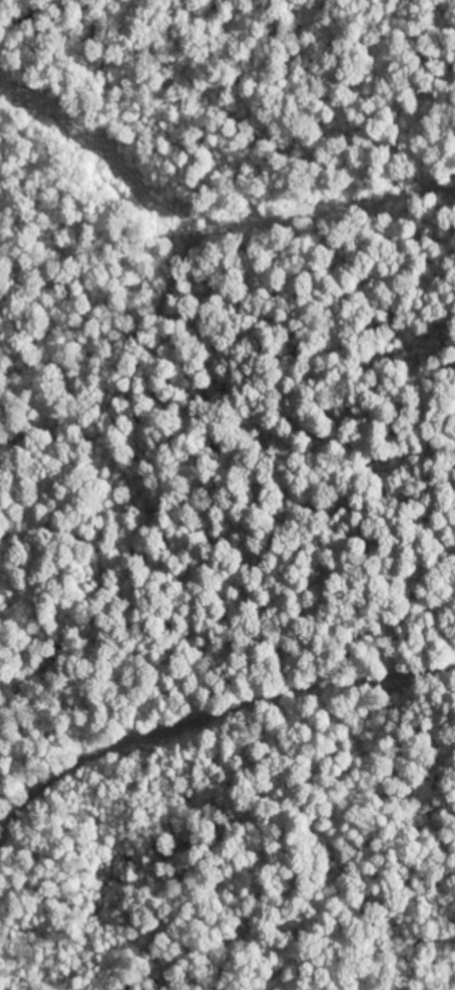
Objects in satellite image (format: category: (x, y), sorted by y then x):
road: (223, 660)

